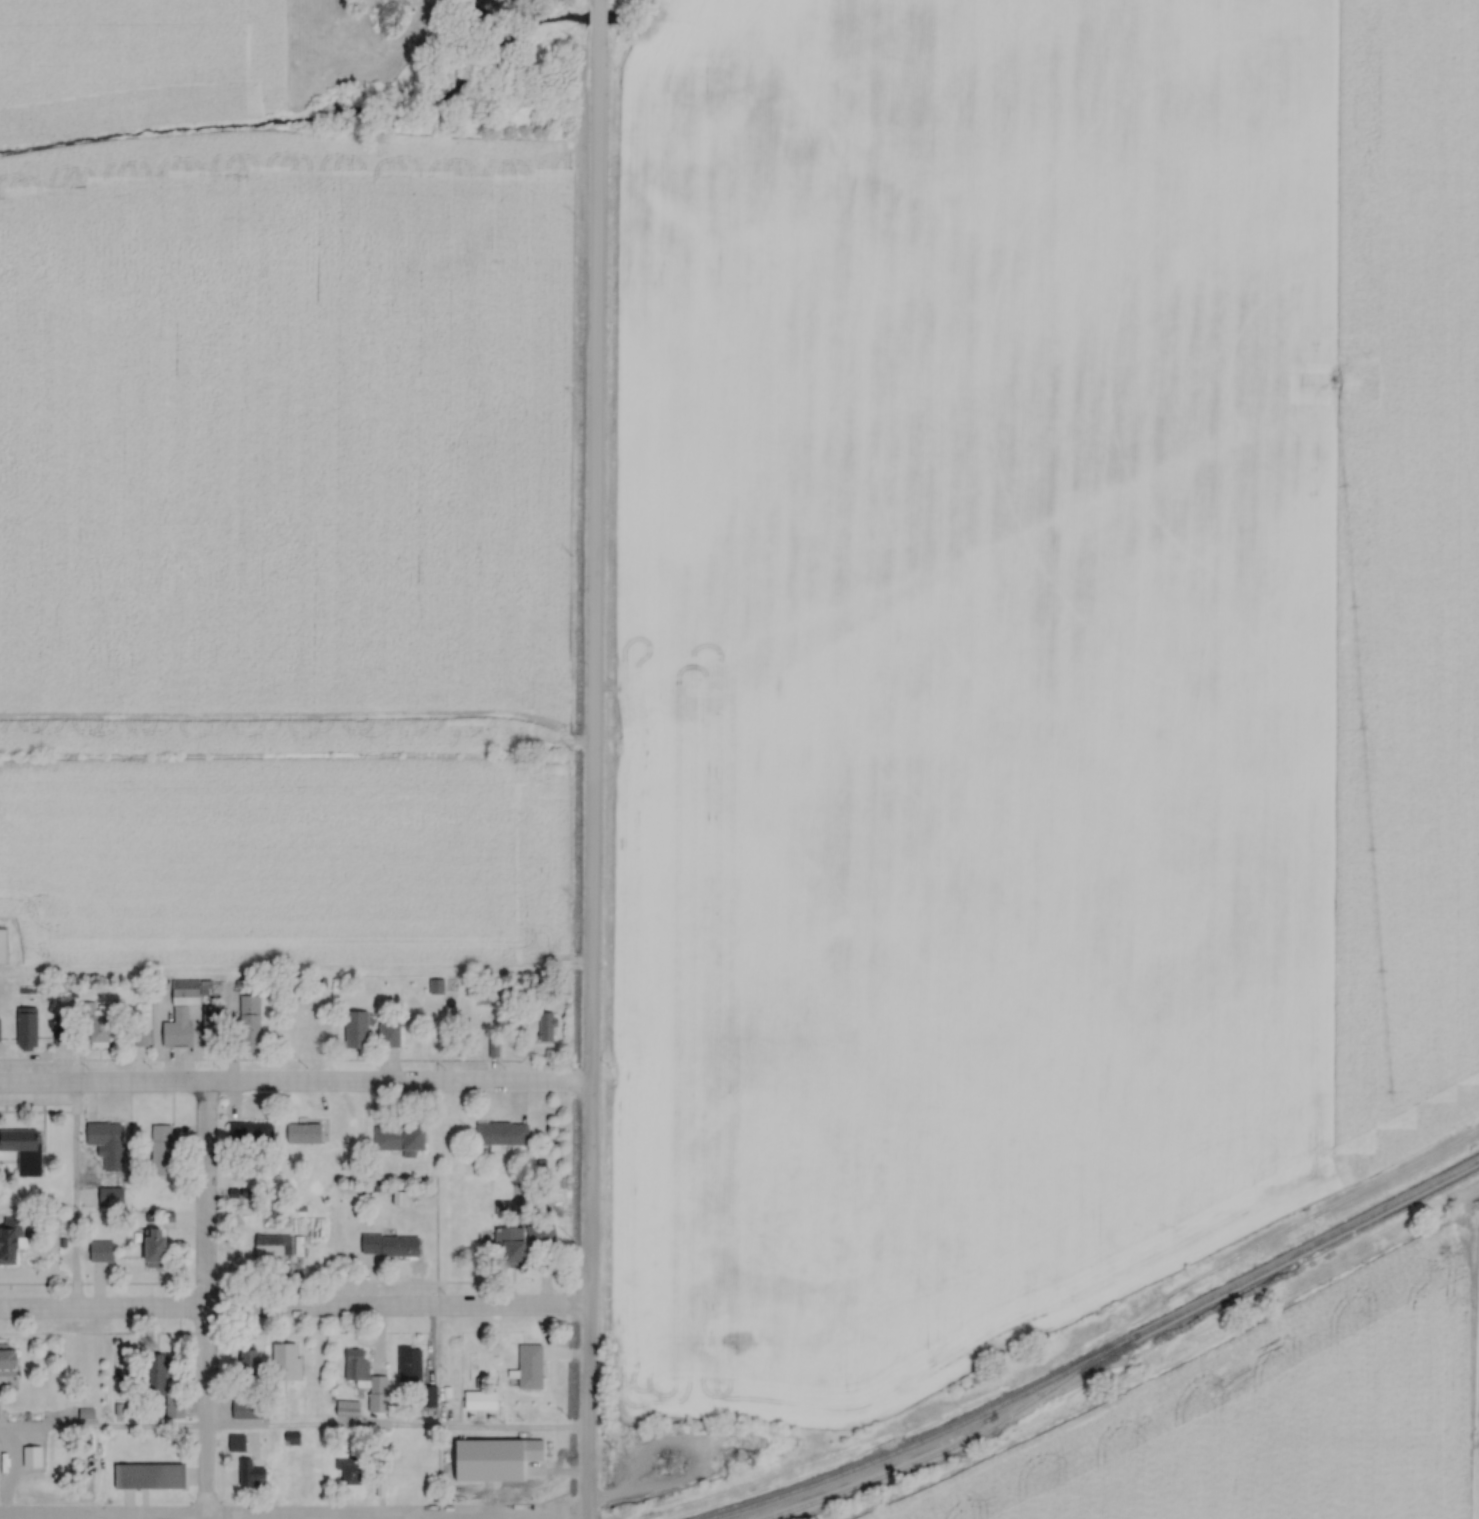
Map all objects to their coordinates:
road: (596, 4)
road: (596, 15)
road: (590, 770)
building: (2, 945)
building: (184, 987)
building: (212, 1019)
building: (546, 1026)
building: (26, 1027)
building: (178, 1027)
building: (356, 1028)
building: (99, 1029)
building: (249, 1029)
building: (60, 1034)
building: (388, 1034)
road: (294, 1085)
building: (249, 1132)
building: (303, 1133)
building: (103, 1134)
building: (501, 1134)
building: (399, 1138)
building: (23, 1149)
building: (160, 1150)
road: (74, 1200)
building: (10, 1240)
building: (519, 1242)
building: (270, 1244)
building: (389, 1244)
building: (154, 1247)
road: (205, 1302)
road: (293, 1312)
railway: (1088, 1354)
building: (8, 1361)
building: (285, 1361)
building: (408, 1363)
building: (249, 1364)
building: (355, 1364)
building: (528, 1366)
building: (163, 1387)
building: (426, 1395)
building: (246, 1410)
road: (293, 1430)
building: (290, 1438)
building: (236, 1443)
railway: (941, 1446)
building: (31, 1456)
building: (348, 1471)
building: (249, 1474)
building: (149, 1476)
road: (534, 1518)

